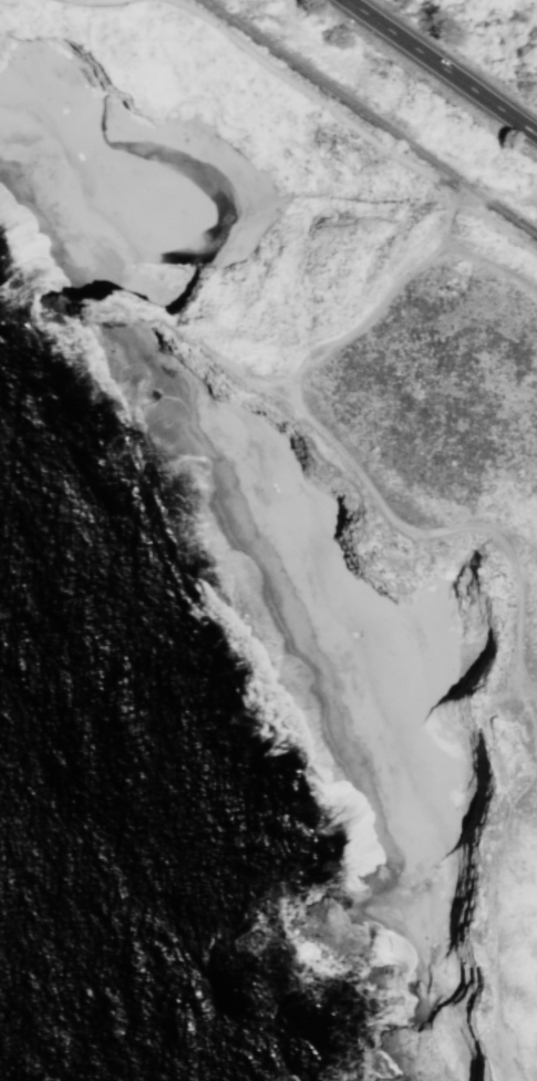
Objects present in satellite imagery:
road: (93, 3)
road: (438, 69)
road: (329, 111)
railway: (370, 119)
road: (494, 189)
parking lot: (531, 195)
road: (496, 224)
road: (188, 343)
road: (330, 442)
park: (350, 452)
road: (508, 812)

